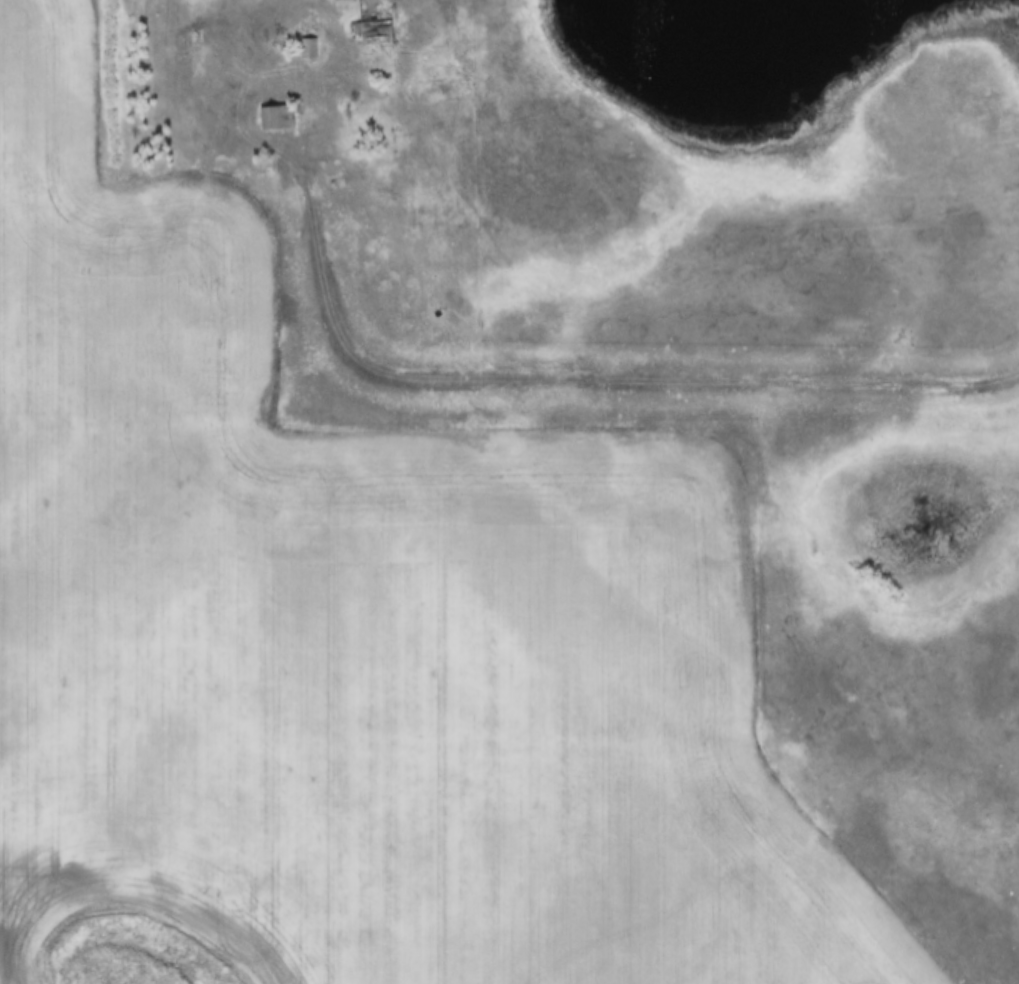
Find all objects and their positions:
building: (342, 0)
building: (369, 21)
building: (305, 39)
building: (273, 117)
road: (581, 377)

